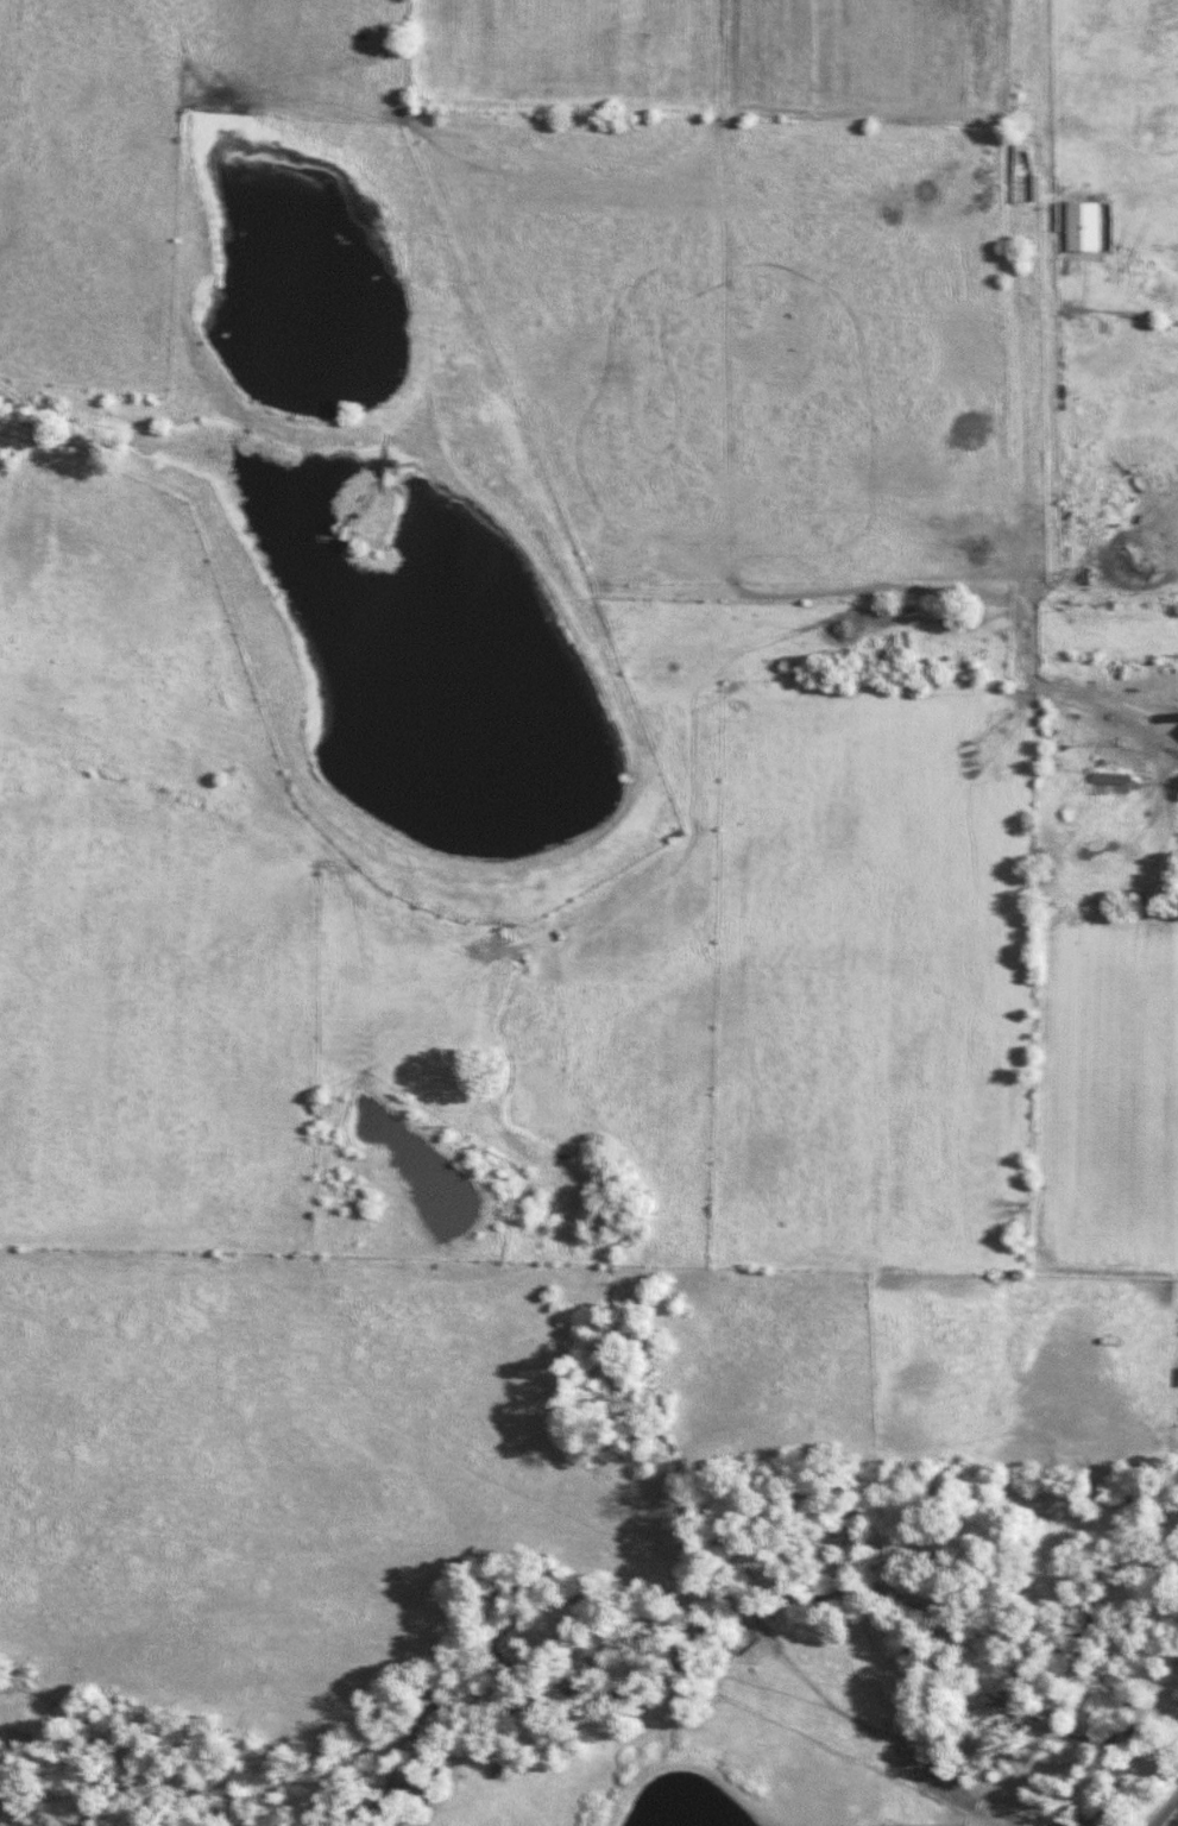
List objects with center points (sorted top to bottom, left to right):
road: (1159, 530)
road: (893, 1441)
building: (745, 1730)
road: (1168, 1815)

